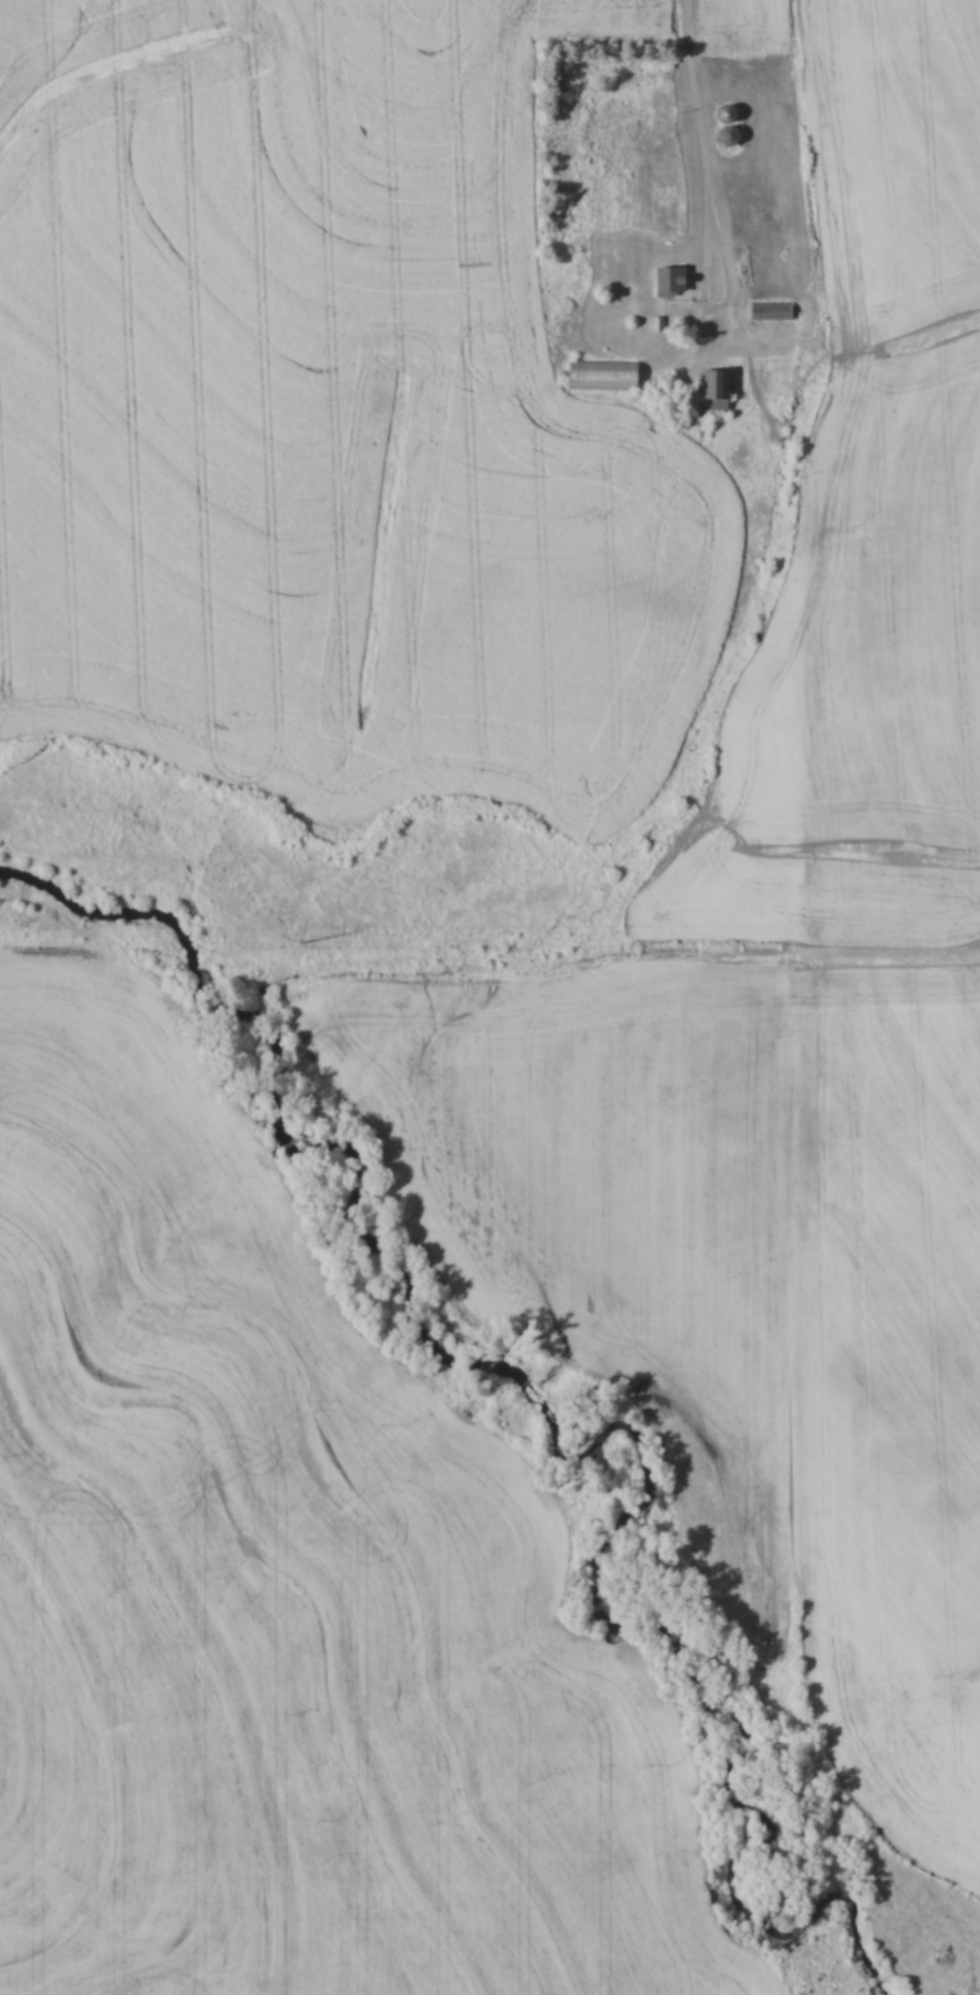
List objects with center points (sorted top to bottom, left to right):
road: (699, 110)
building: (723, 113)
building: (726, 137)
building: (765, 248)
building: (666, 279)
road: (713, 309)
building: (768, 311)
building: (599, 376)
building: (709, 392)
power tower: (298, 938)

